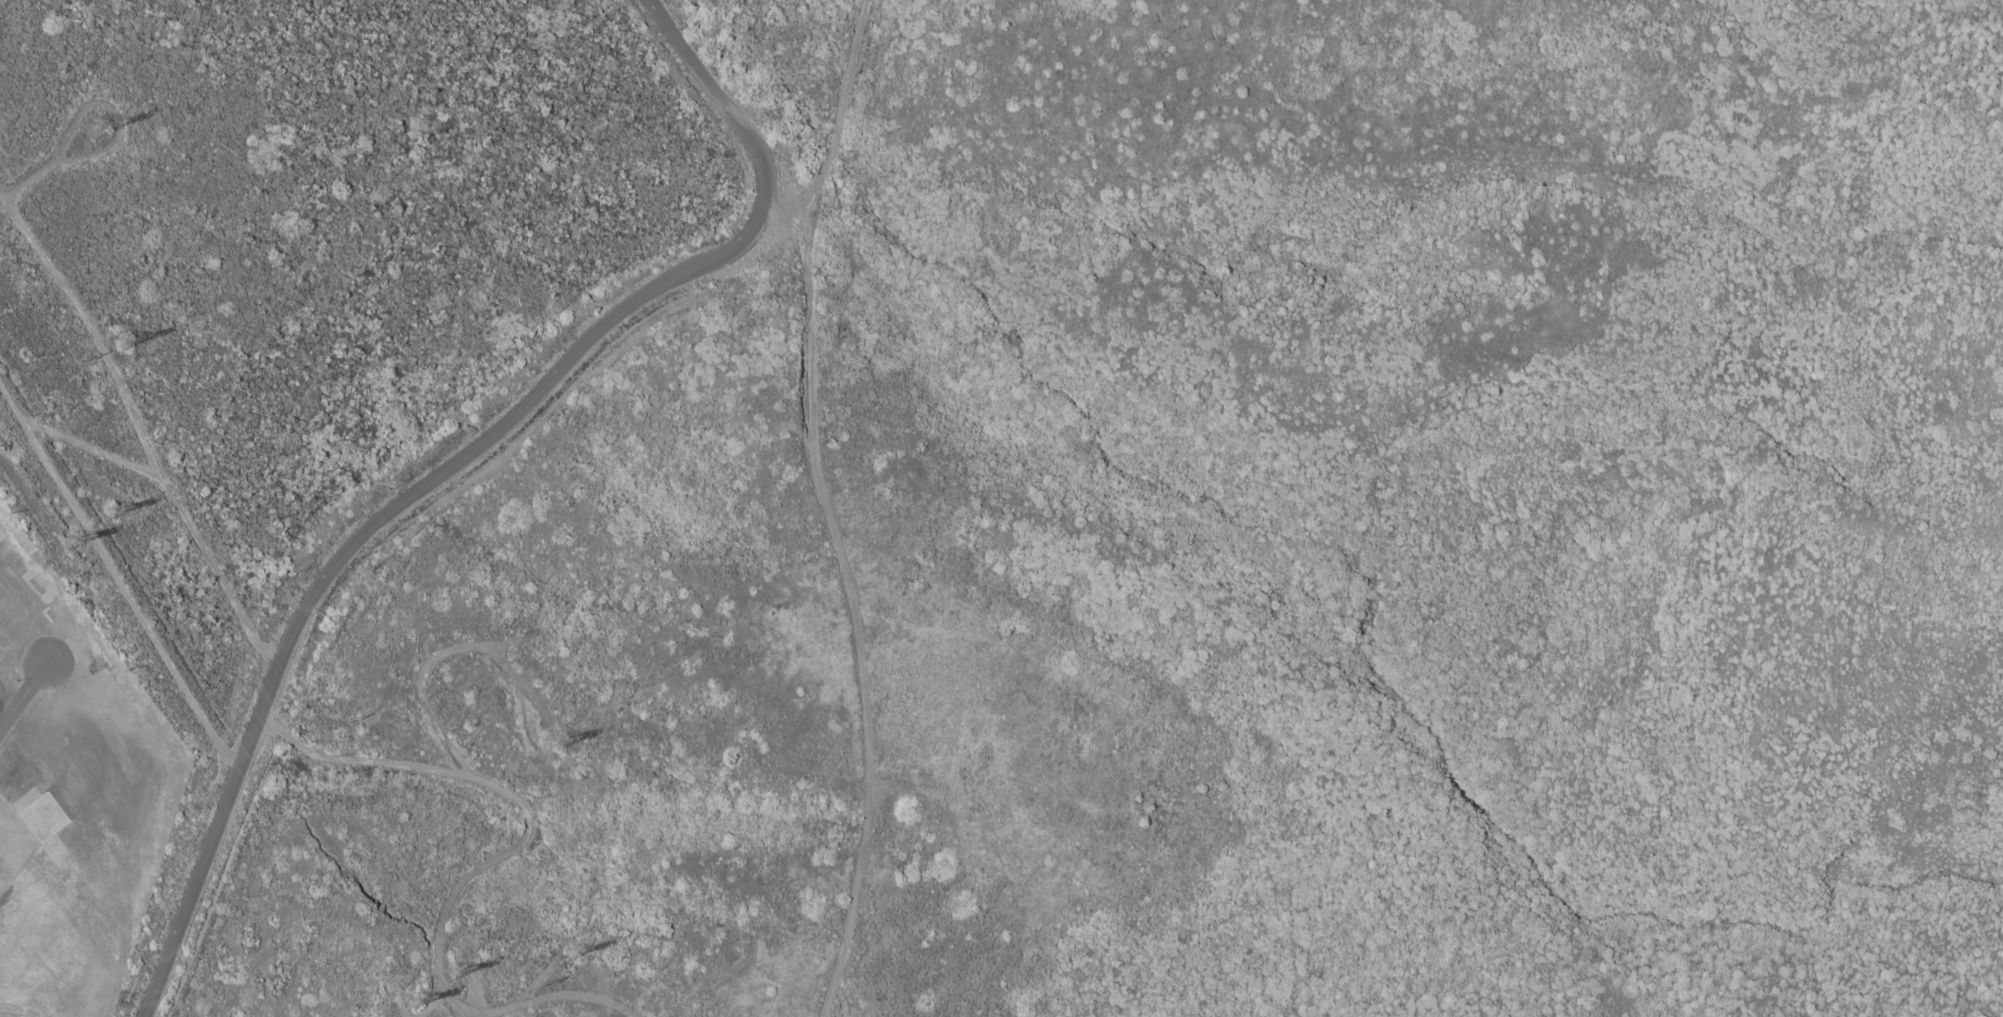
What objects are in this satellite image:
power tower: (99, 135)
power tower: (125, 351)
road: (571, 355)
power tower: (84, 360)
power tower: (115, 518)
power tower: (71, 548)
road: (123, 585)
road: (853, 598)
road: (439, 654)
road: (26, 701)
power tower: (347, 721)
power tower: (551, 756)
road: (370, 760)
power tower: (577, 959)
power tower: (459, 980)
road: (529, 981)
power tower: (542, 986)
road: (556, 994)
power tower: (417, 1011)

